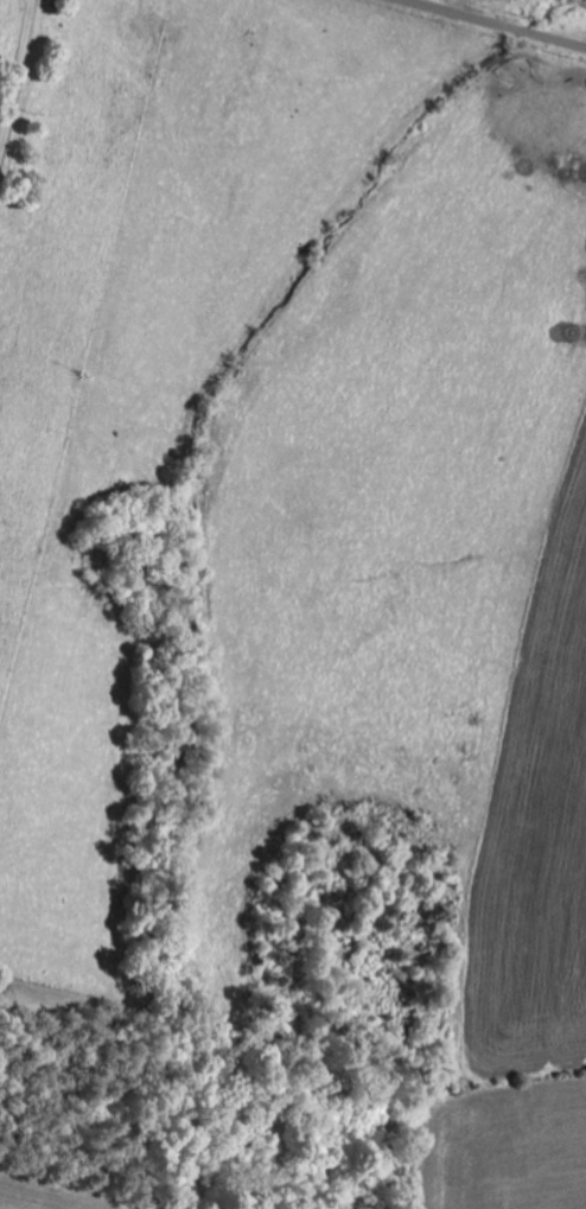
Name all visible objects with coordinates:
road: (495, 24)
road: (17, 75)

